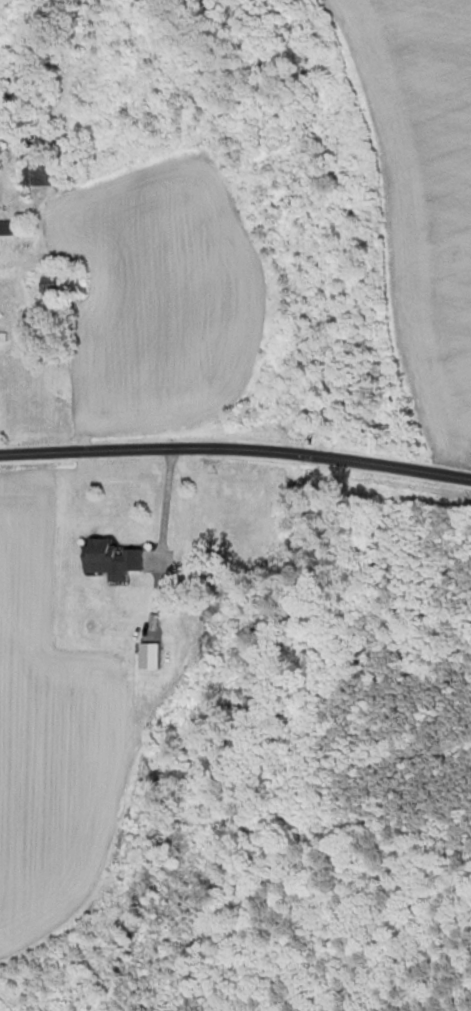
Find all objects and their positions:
building: (36, 175)
building: (8, 228)
road: (35, 230)
building: (55, 286)
road: (236, 452)
road: (165, 506)
building: (108, 560)

